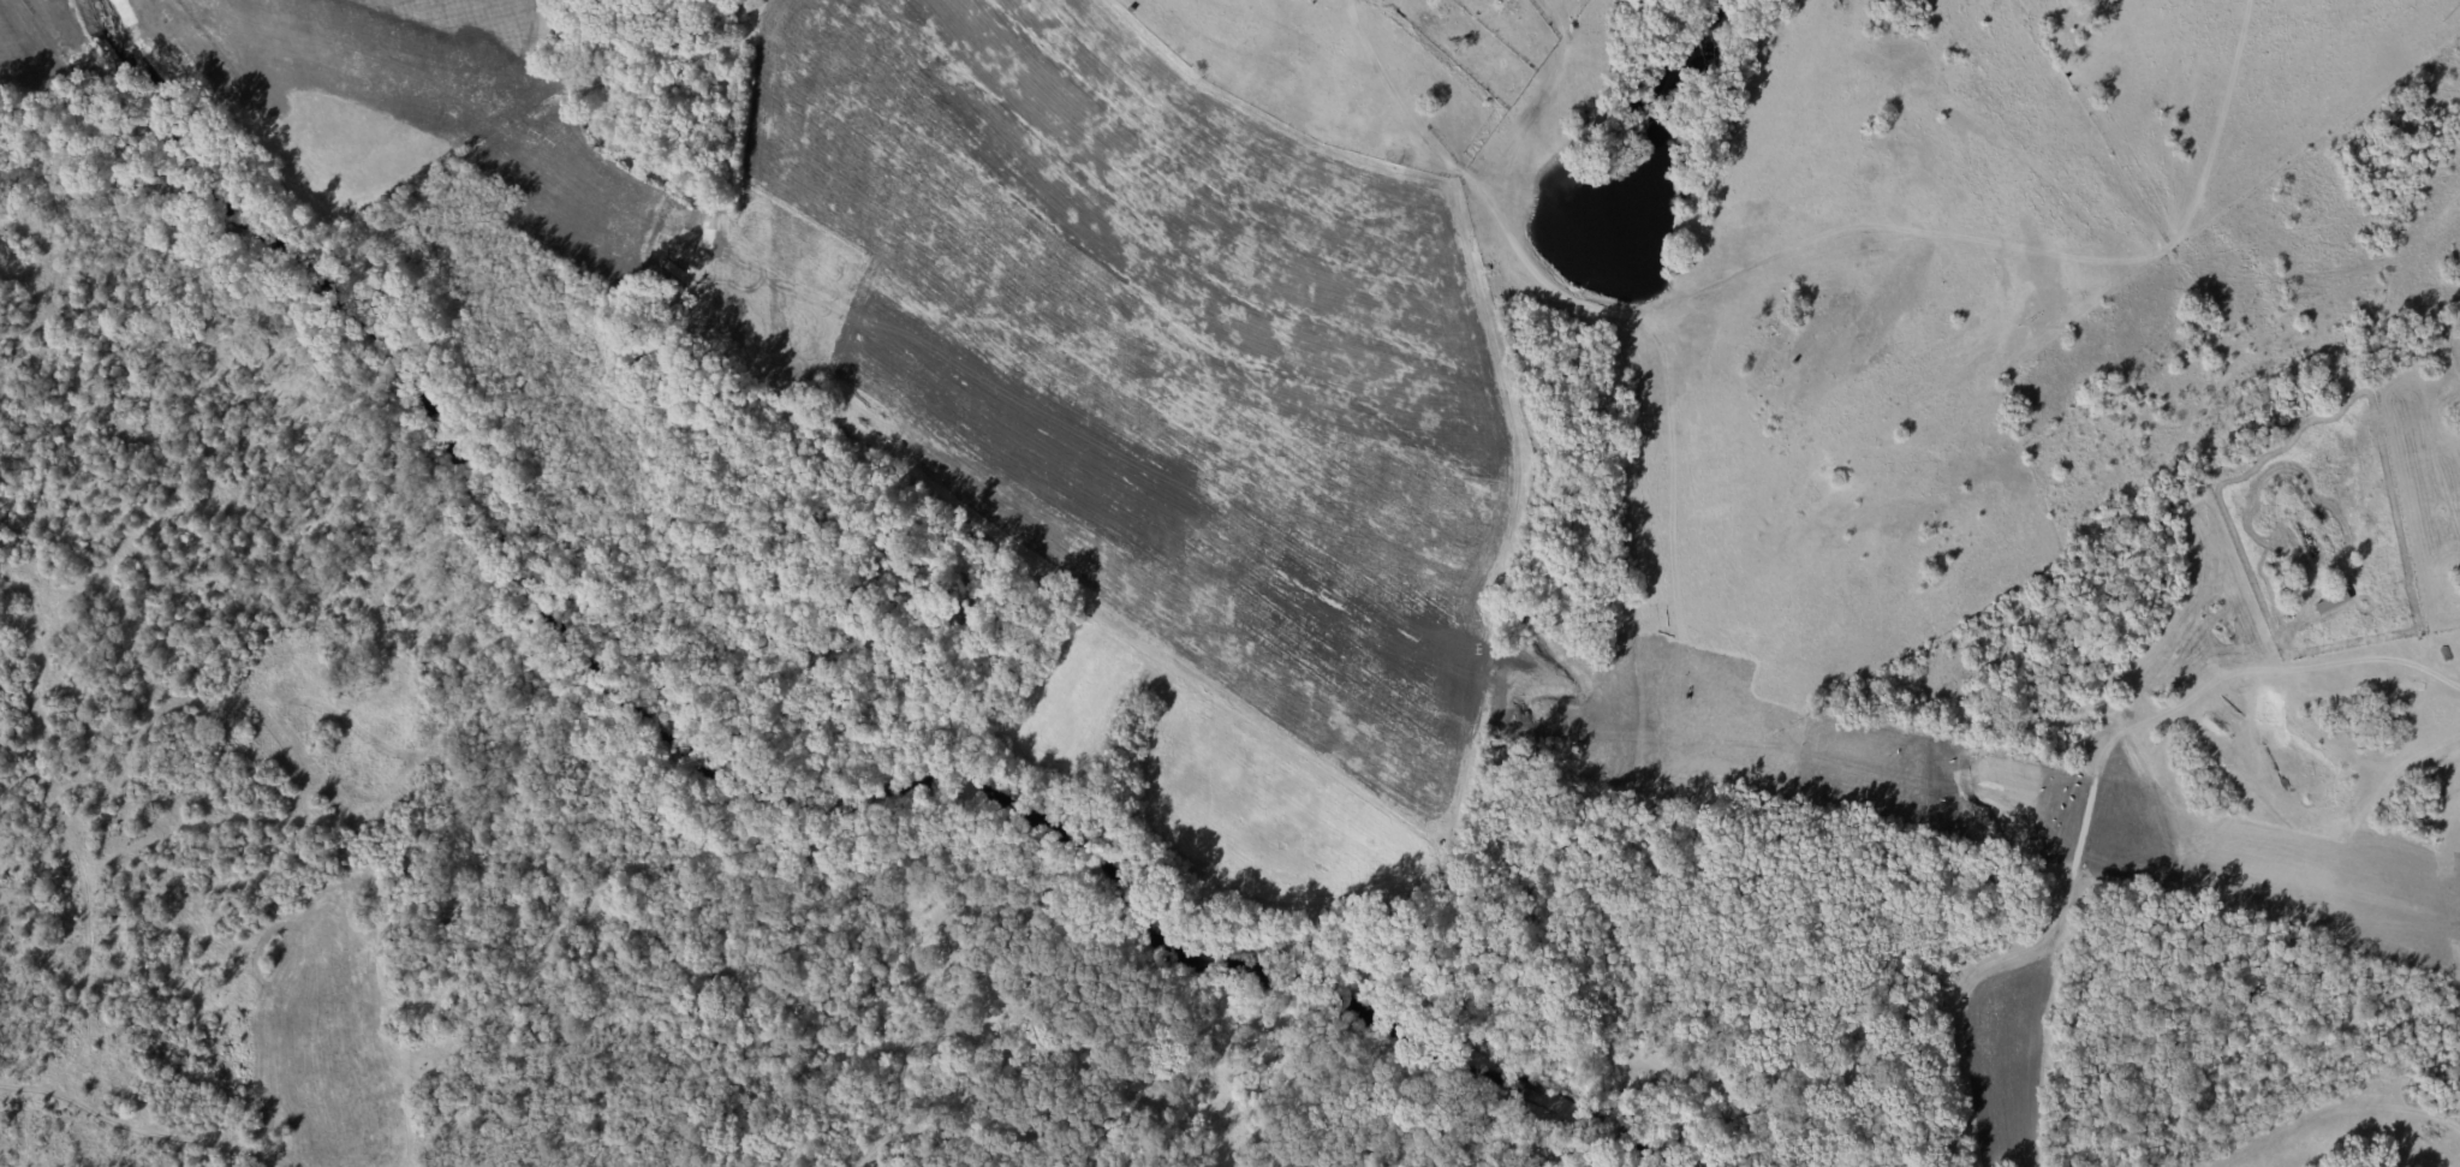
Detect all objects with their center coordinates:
building: (2334, 602)
road: (2170, 836)

